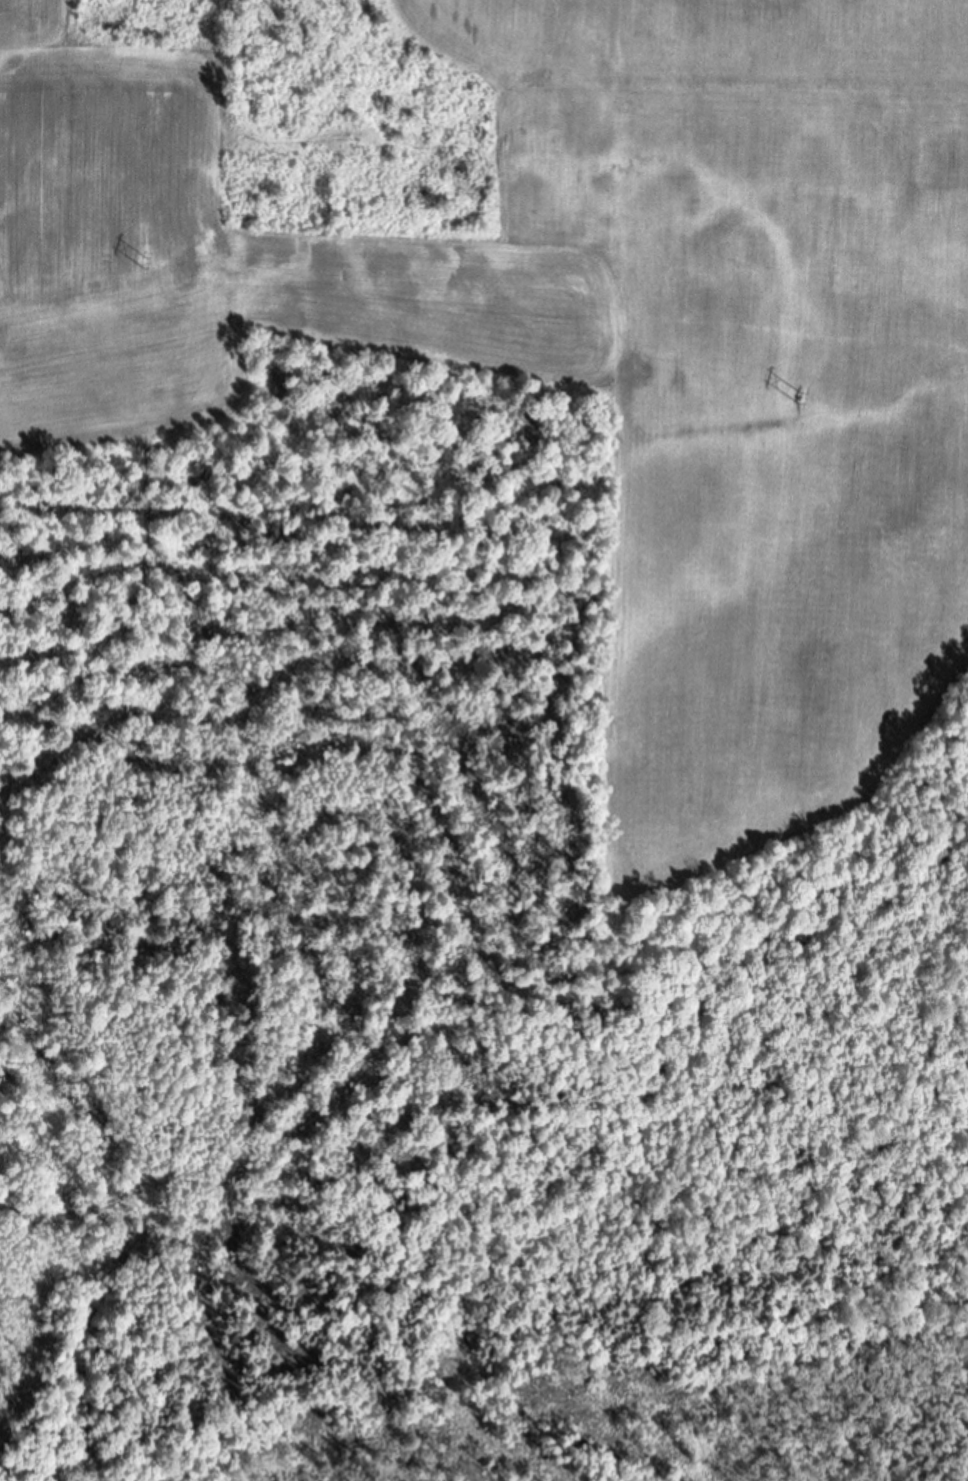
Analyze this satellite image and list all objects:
power tower: (147, 265)
power tower: (804, 402)

